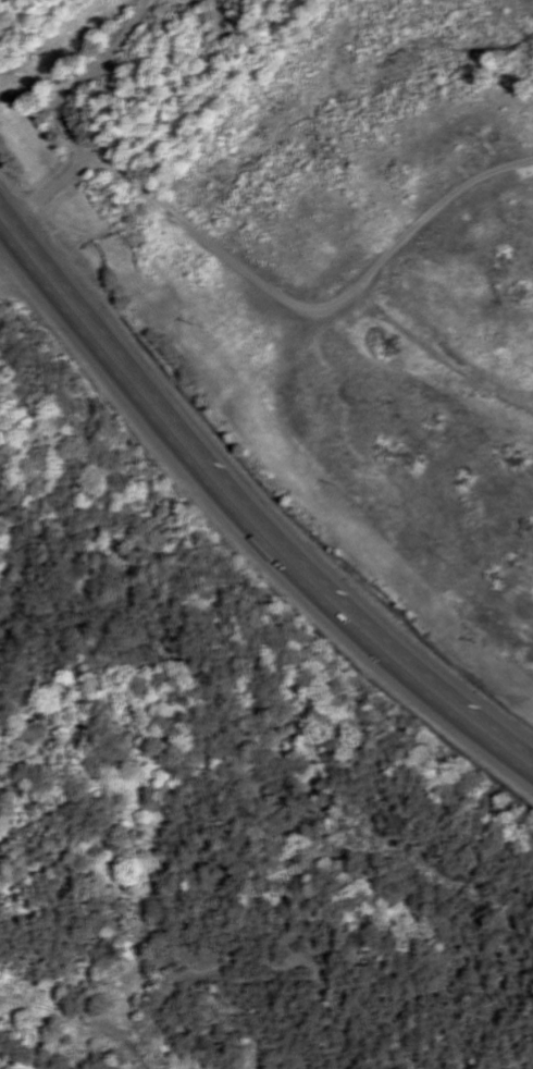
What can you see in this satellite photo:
road: (64, 120)
road: (4, 233)
road: (313, 306)
road: (245, 515)

